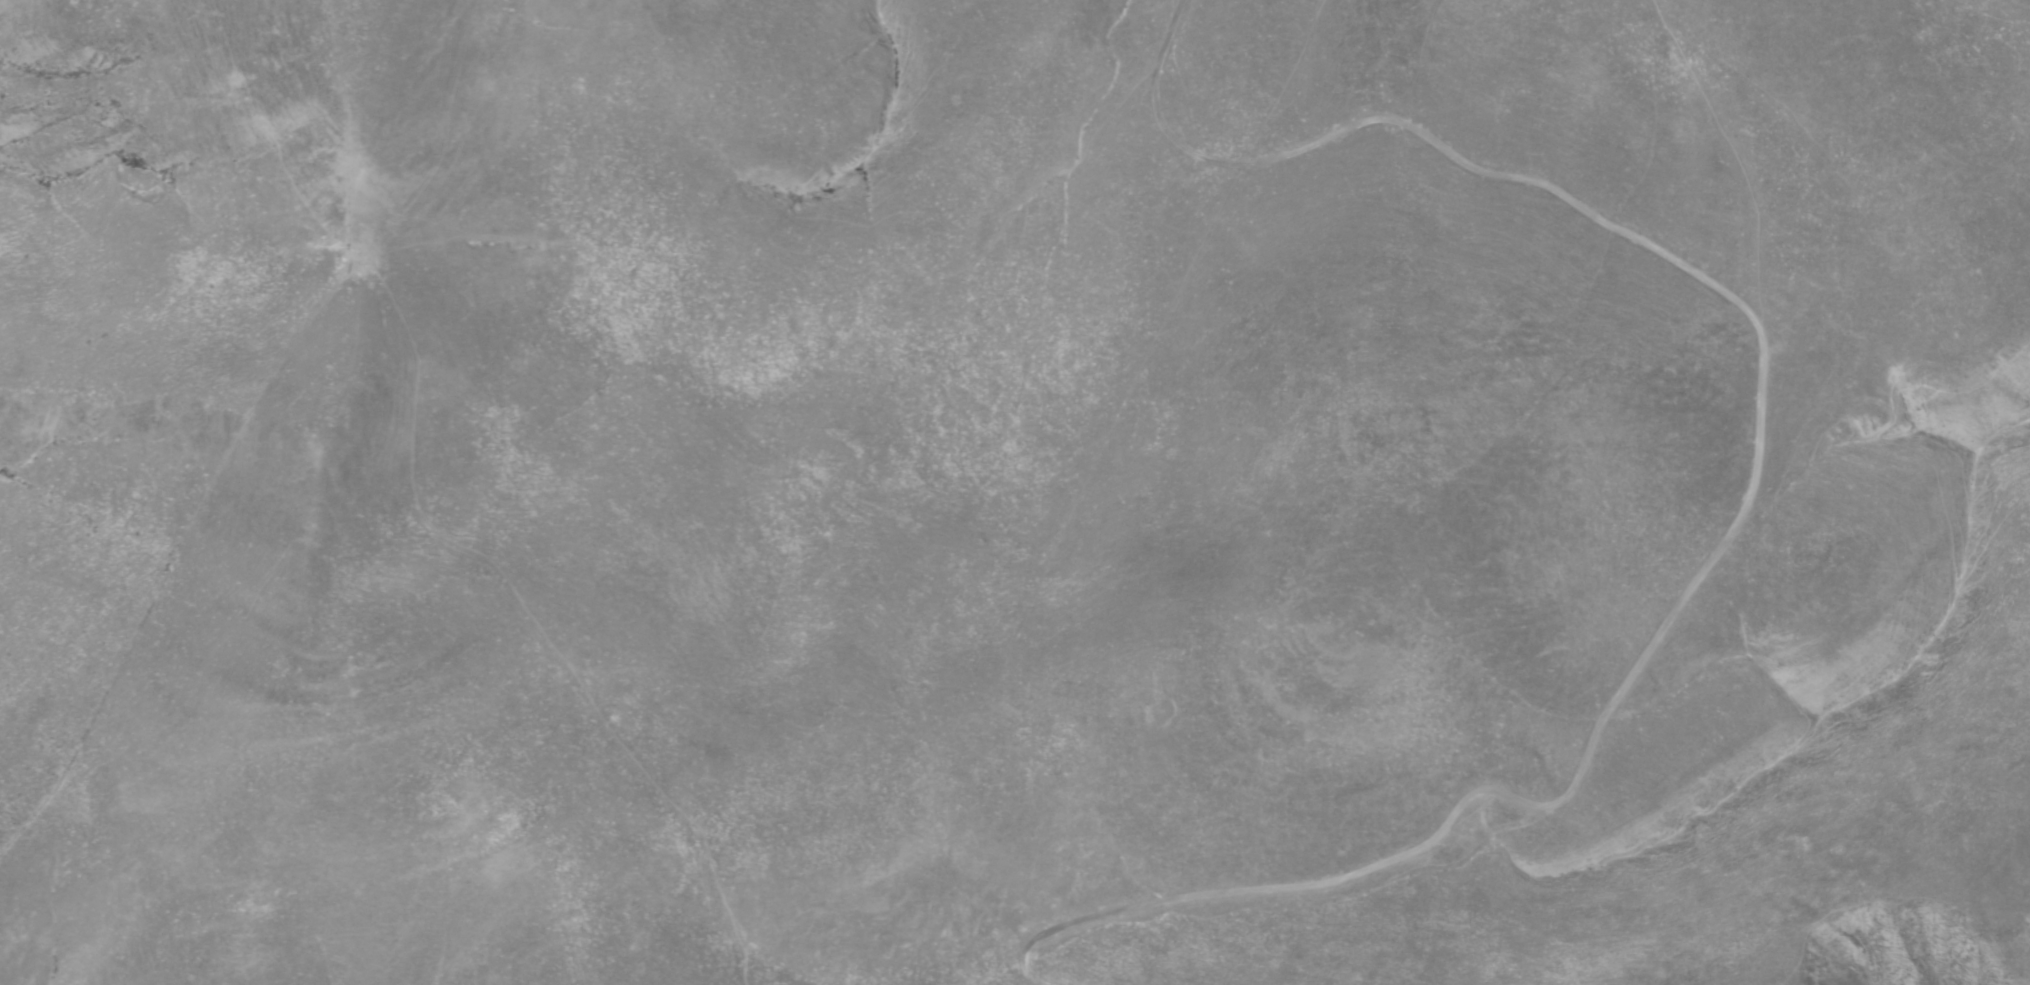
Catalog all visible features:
road: (1236, 971)

